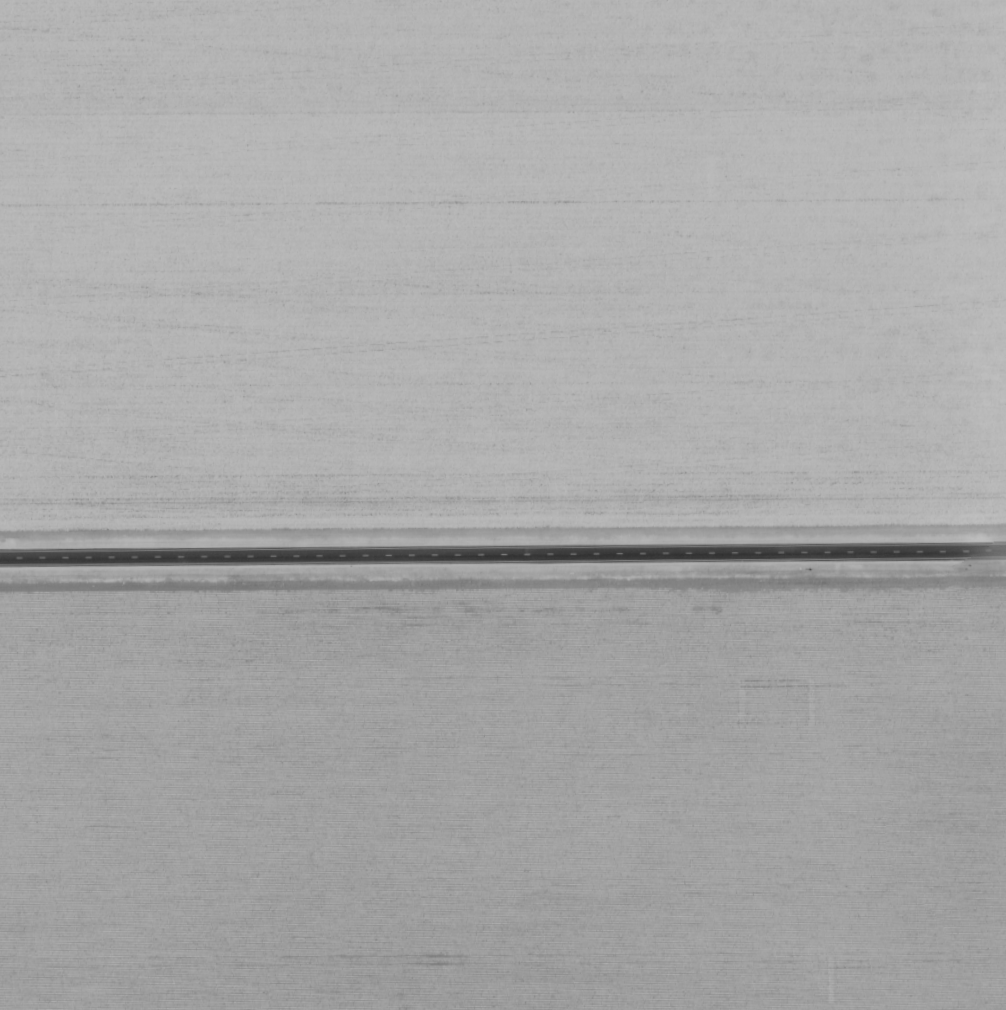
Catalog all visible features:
road: (502, 550)

